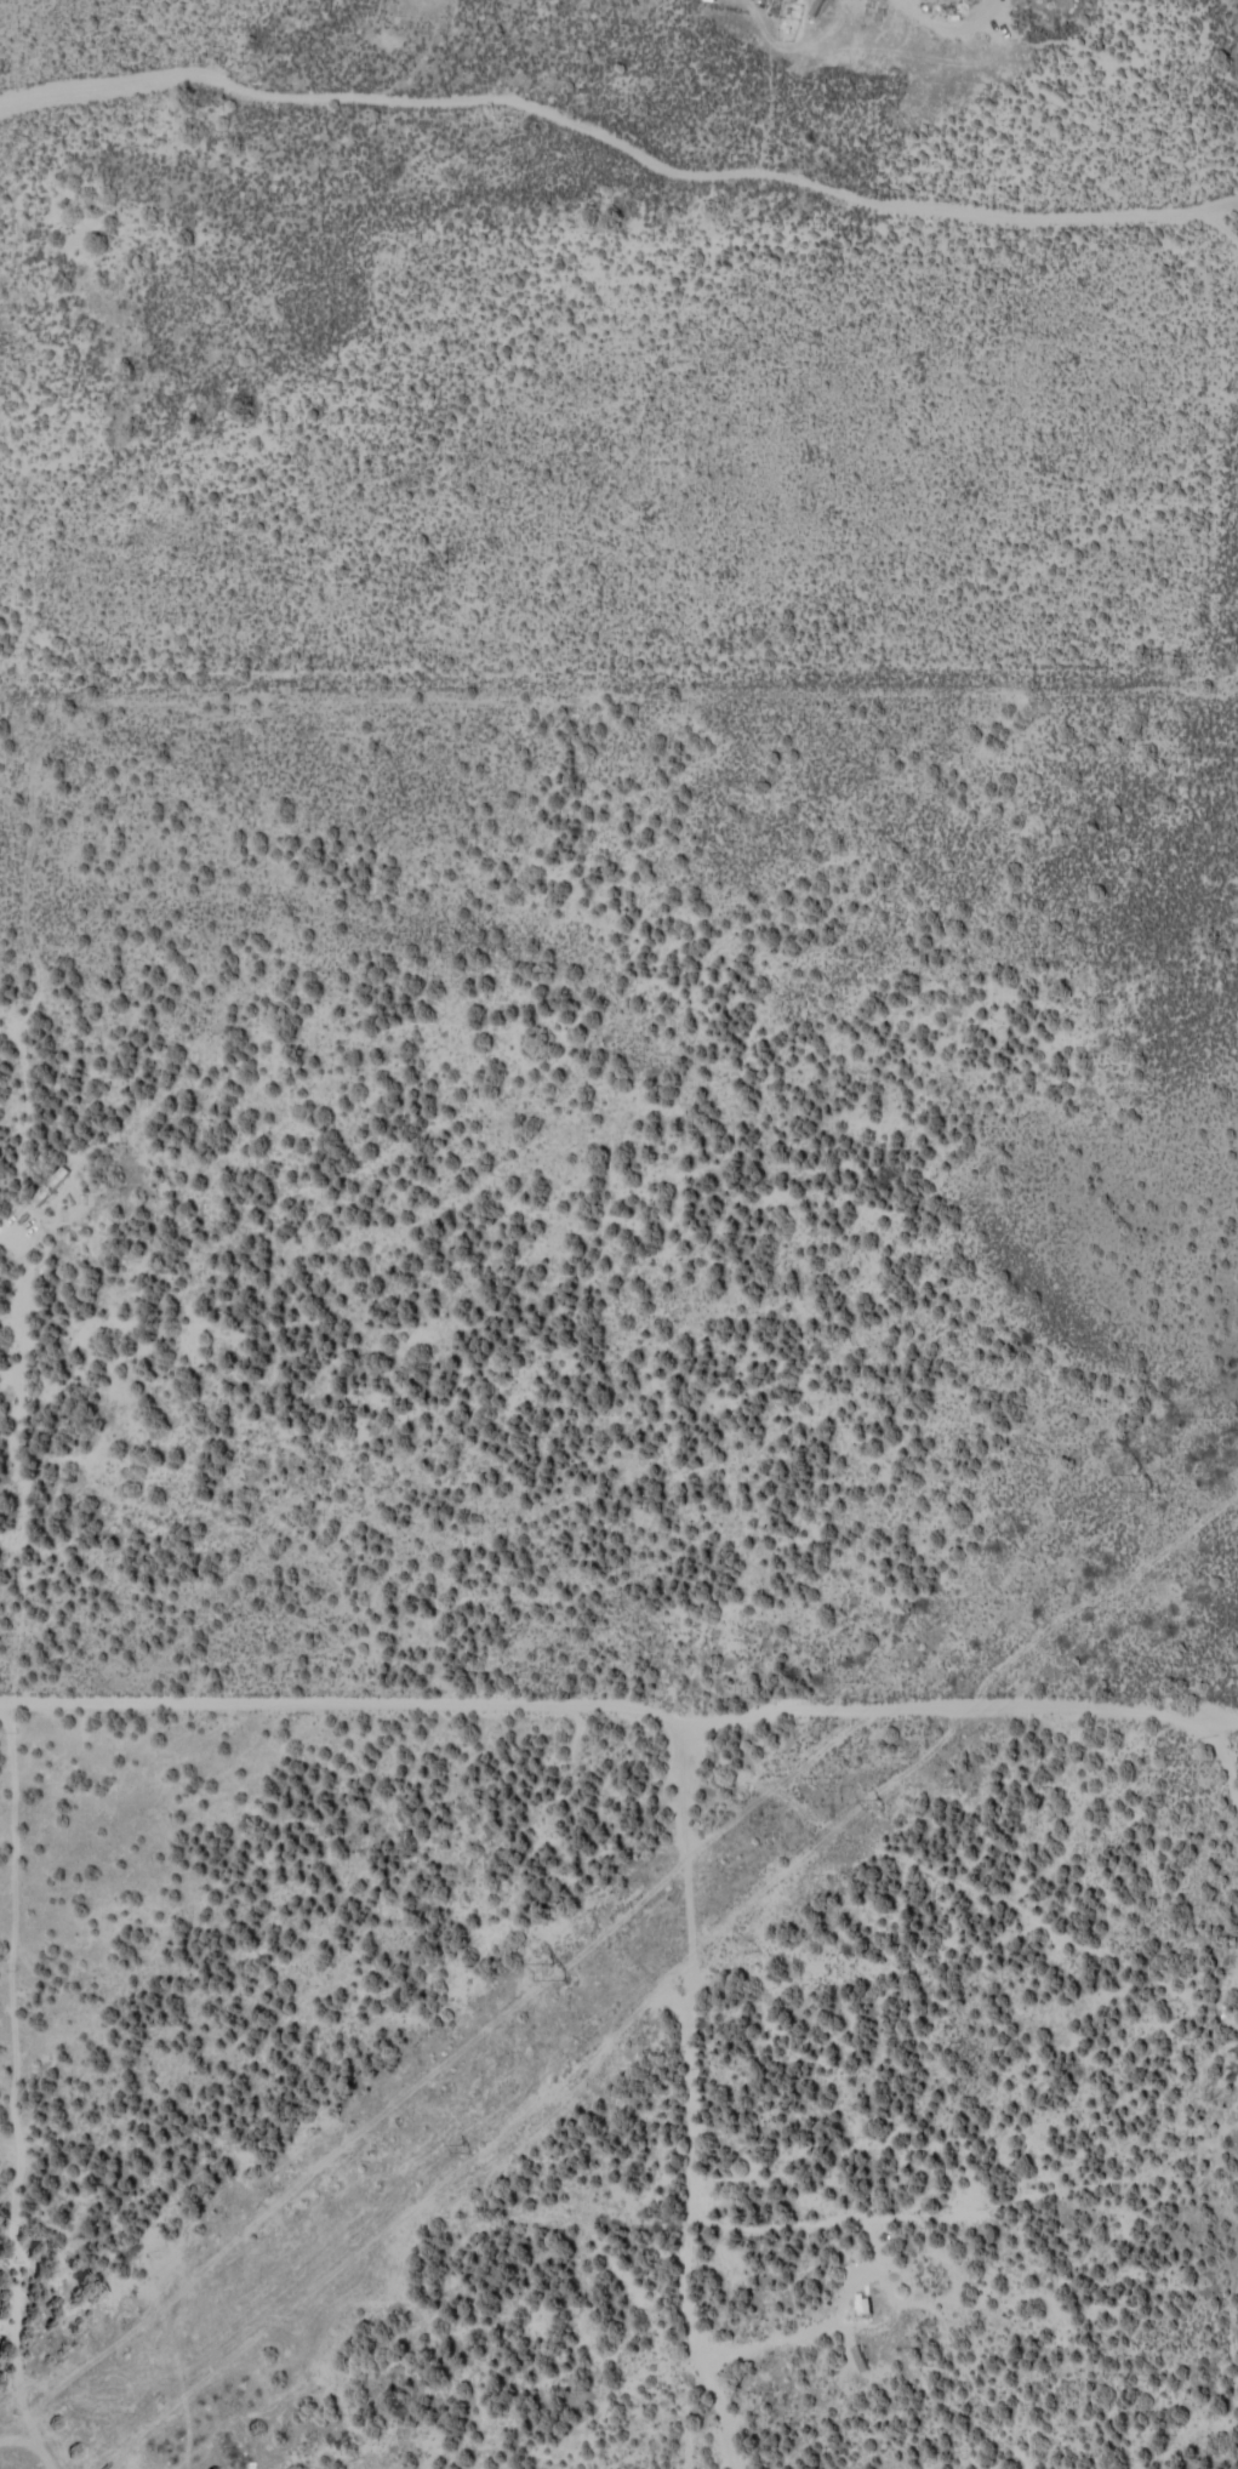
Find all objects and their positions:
building: (52, 1184)
road: (80, 1283)
power tower: (1147, 1483)
road: (502, 1648)
road: (962, 1836)
power tower: (558, 1974)
road: (691, 2140)
power tower: (466, 2144)

